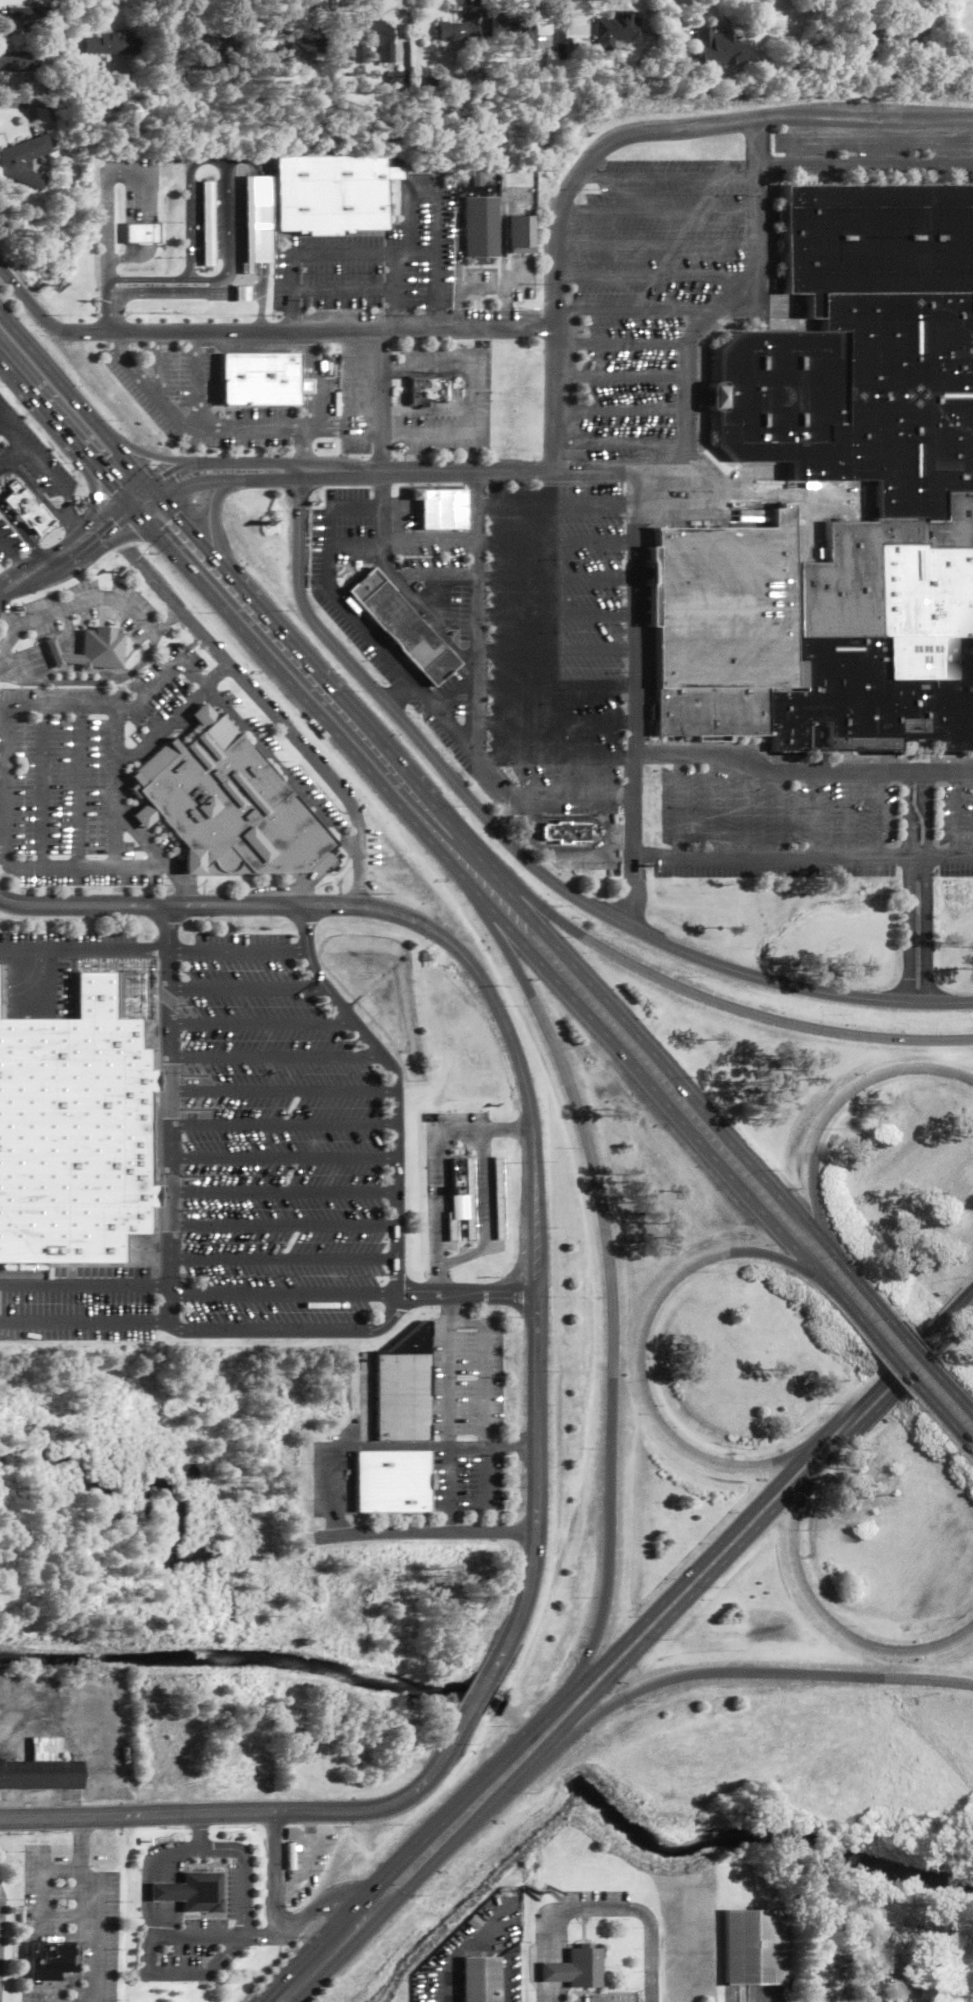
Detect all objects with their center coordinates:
building: (32, 17)
building: (614, 30)
building: (457, 31)
building: (515, 31)
building: (373, 38)
building: (870, 40)
building: (900, 42)
building: (111, 44)
building: (300, 47)
building: (206, 48)
building: (715, 49)
road: (554, 59)
building: (19, 62)
road: (865, 115)
road: (936, 139)
road: (830, 140)
parking lot: (872, 141)
building: (11, 162)
road: (865, 164)
road: (668, 175)
road: (475, 179)
building: (331, 191)
road: (434, 193)
road: (515, 198)
road: (658, 210)
road: (107, 217)
road: (191, 219)
road: (263, 219)
building: (256, 221)
building: (208, 223)
road: (556, 223)
building: (481, 227)
building: (141, 233)
road: (145, 233)
building: (522, 234)
road: (655, 243)
road: (231, 245)
road: (340, 253)
road: (457, 254)
road: (132, 259)
road: (502, 263)
road: (264, 278)
road: (649, 278)
road: (518, 279)
road: (476, 288)
parking lot: (647, 288)
road: (243, 290)
road: (342, 290)
road: (223, 291)
road: (255, 291)
road: (163, 294)
building: (243, 294)
road: (255, 295)
road: (725, 297)
road: (223, 298)
road: (243, 298)
road: (28, 301)
road: (632, 310)
road: (394, 318)
road: (292, 320)
road: (435, 320)
road: (308, 329)
road: (117, 339)
road: (621, 343)
road: (439, 365)
road: (393, 369)
road: (620, 377)
road: (199, 379)
building: (263, 379)
road: (310, 379)
building: (307, 386)
building: (429, 390)
road: (382, 400)
road: (467, 401)
road: (78, 404)
road: (45, 409)
road: (620, 411)
road: (186, 424)
road: (306, 429)
road: (475, 433)
road: (13, 434)
road: (395, 434)
road: (312, 444)
road: (619, 444)
road: (13, 456)
road: (155, 456)
road: (49, 469)
building: (884, 471)
road: (429, 472)
road: (619, 472)
road: (229, 473)
road: (111, 485)
road: (37, 489)
road: (98, 490)
road: (385, 491)
traffic signals: (159, 493)
road: (150, 497)
road: (136, 505)
road: (70, 506)
traffic signals: (131, 508)
building: (28, 509)
road: (223, 509)
road: (112, 511)
road: (75, 526)
traffic signals: (165, 529)
road: (191, 529)
road: (22, 530)
road: (71, 540)
road: (91, 550)
road: (11, 553)
road: (38, 562)
road: (14, 575)
road: (157, 579)
road: (330, 581)
road: (21, 590)
road: (89, 600)
road: (476, 613)
road: (635, 613)
road: (8, 619)
road: (168, 622)
building: (403, 626)
road: (6, 639)
building: (99, 650)
building: (53, 653)
road: (169, 673)
road: (218, 675)
road: (300, 680)
road: (90, 683)
road: (398, 690)
road: (307, 703)
road: (346, 706)
road: (64, 707)
building: (202, 716)
road: (162, 726)
road: (409, 727)
road: (302, 746)
road: (482, 762)
road: (3, 767)
road: (280, 772)
road: (800, 774)
road: (6, 787)
road: (42, 788)
road: (78, 788)
road: (114, 788)
road: (567, 793)
road: (627, 794)
road: (712, 806)
building: (230, 807)
road: (745, 811)
building: (144, 816)
road: (812, 816)
road: (845, 816)
road: (608, 822)
parking lot: (773, 829)
parking lot: (955, 831)
building: (566, 834)
road: (633, 840)
road: (149, 848)
road: (575, 852)
road: (802, 858)
road: (483, 863)
building: (191, 864)
road: (81, 869)
road: (907, 887)
road: (924, 888)
road: (185, 897)
road: (151, 905)
road: (333, 907)
road: (539, 908)
road: (508, 949)
road: (153, 952)
road: (166, 981)
road: (322, 986)
road: (794, 986)
road: (243, 989)
road: (770, 1019)
road: (258, 1025)
road: (653, 1056)
road: (272, 1058)
road: (873, 1077)
road: (393, 1085)
road: (167, 1092)
road: (280, 1092)
road: (682, 1122)
road: (280, 1125)
road: (507, 1130)
building: (73, 1132)
road: (280, 1159)
road: (434, 1178)
building: (456, 1183)
road: (596, 1184)
road: (280, 1192)
road: (806, 1193)
building: (497, 1199)
building: (461, 1209)
road: (483, 1214)
road: (280, 1226)
road: (167, 1234)
road: (393, 1236)
road: (536, 1254)
road: (280, 1260)
road: (437, 1282)
road: (857, 1283)
road: (280, 1295)
road: (465, 1296)
road: (446, 1308)
road: (465, 1321)
road: (276, 1331)
road: (639, 1352)
road: (922, 1355)
road: (889, 1367)
road: (904, 1370)
parking lot: (465, 1379)
road: (484, 1386)
building: (402, 1387)
road: (888, 1391)
road: (958, 1395)
road: (949, 1421)
road: (446, 1427)
road: (436, 1446)
road: (484, 1478)
road: (333, 1479)
building: (390, 1481)
parking lot: (464, 1482)
road: (798, 1495)
building: (496, 1504)
road: (422, 1533)
road: (609, 1540)
road: (689, 1573)
road: (671, 1615)
road: (843, 1633)
river: (258, 1660)
road: (700, 1673)
road: (928, 1680)
road: (478, 1692)
river: (539, 1744)
building: (41, 1769)
road: (471, 1793)
road: (396, 1802)
road: (138, 1817)
road: (463, 1830)
road: (201, 1832)
building: (292, 1834)
river: (762, 1835)
road: (80, 1853)
building: (291, 1857)
road: (246, 1874)
road: (147, 1877)
parking lot: (237, 1892)
building: (190, 1893)
road: (591, 1910)
road: (372, 1911)
road: (279, 1922)
road: (264, 1937)
road: (95, 1941)
parking lot: (193, 1946)
building: (940, 1946)
building: (755, 1948)
road: (650, 1949)
road: (555, 1957)
building: (49, 1959)
road: (324, 1962)
road: (150, 1965)
building: (584, 1969)
building: (554, 1973)
building: (481, 1980)
building: (909, 1994)
road: (869, 2001)

